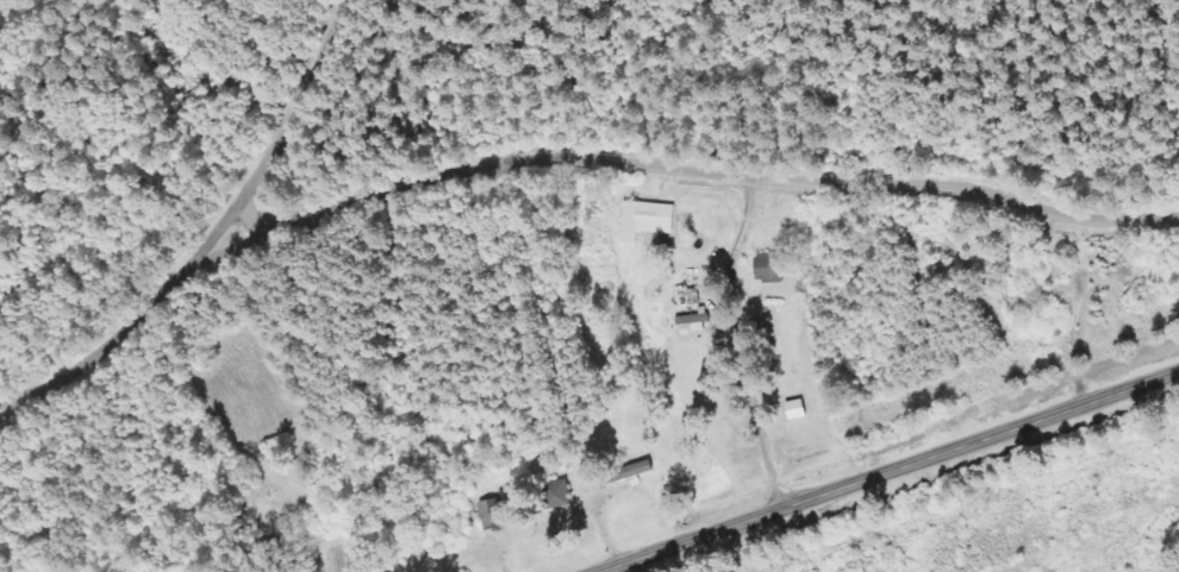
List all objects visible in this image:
road: (285, 119)
road: (716, 175)
building: (647, 221)
building: (771, 268)
road: (129, 320)
road: (749, 344)
road: (888, 471)
building: (561, 495)
building: (493, 515)
road: (560, 522)
road: (606, 526)

